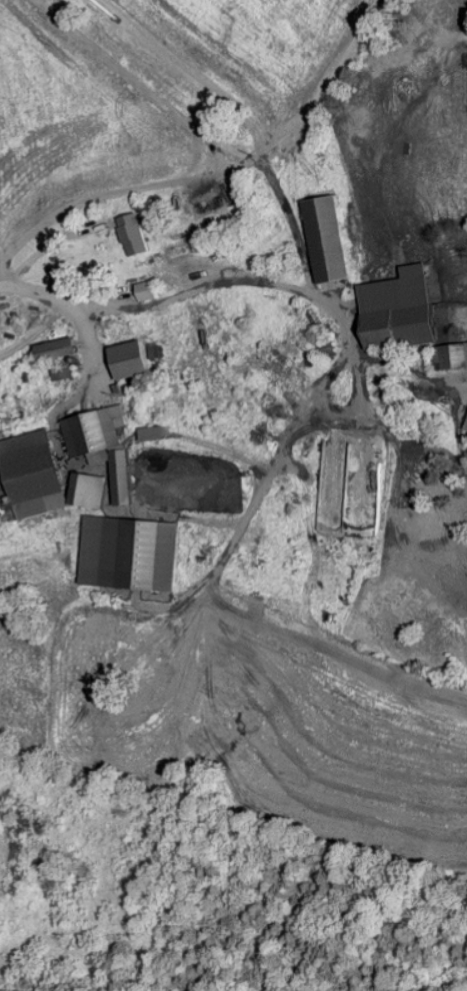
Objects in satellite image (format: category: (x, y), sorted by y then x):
building: (137, 234)
building: (329, 238)
road: (159, 284)
building: (148, 290)
building: (401, 309)
building: (59, 348)
building: (450, 355)
building: (133, 358)
building: (63, 370)
building: (466, 429)
building: (156, 432)
building: (105, 444)
building: (37, 473)
building: (91, 489)
building: (131, 552)

